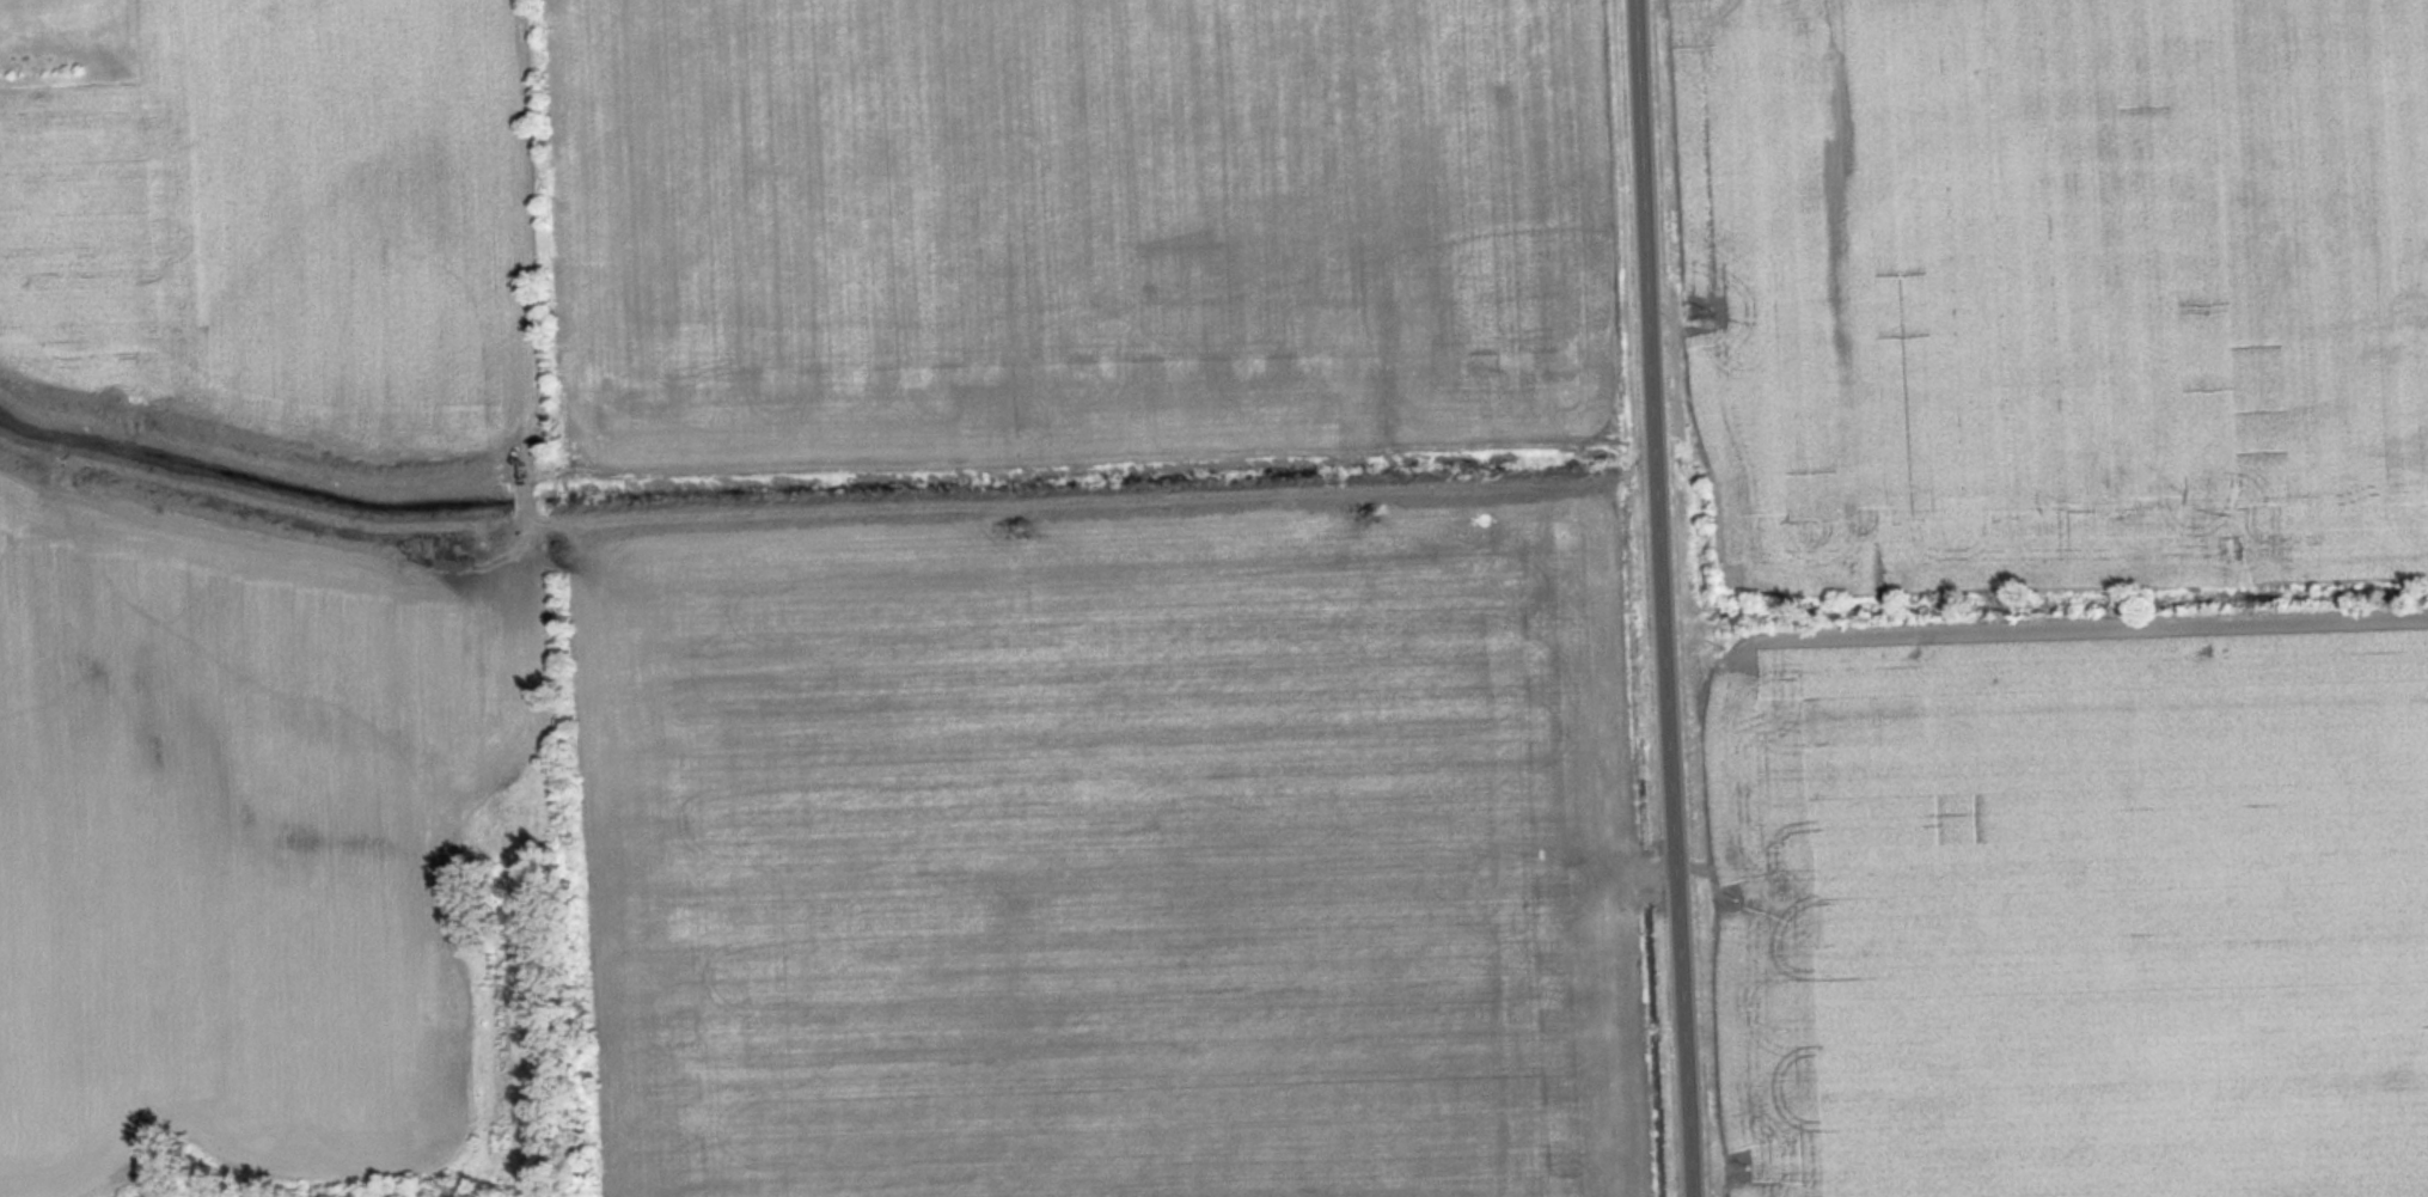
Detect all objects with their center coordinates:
road: (1674, 598)

